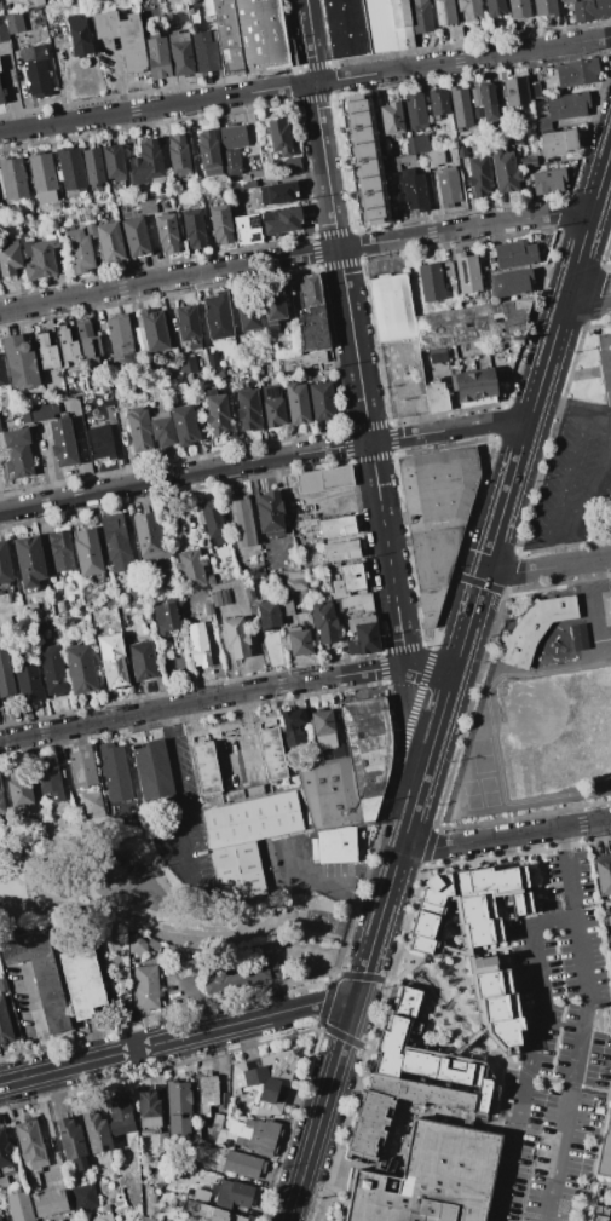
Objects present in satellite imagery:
building: (567, 1)
building: (34, 2)
building: (495, 7)
building: (519, 8)
building: (546, 8)
building: (468, 10)
building: (590, 10)
building: (35, 12)
building: (444, 12)
building: (421, 15)
building: (15, 22)
building: (387, 24)
building: (345, 28)
building: (2, 29)
building: (77, 35)
building: (122, 35)
building: (249, 35)
building: (203, 52)
building: (180, 53)
building: (158, 58)
building: (36, 70)
building: (577, 73)
road: (119, 77)
road: (305, 83)
building: (535, 90)
building: (515, 92)
building: (473, 97)
building: (0, 98)
building: (438, 102)
building: (486, 103)
building: (461, 106)
building: (567, 106)
building: (416, 111)
building: (392, 117)
road: (317, 125)
building: (279, 136)
building: (232, 137)
building: (555, 143)
building: (417, 144)
building: (462, 150)
building: (208, 152)
building: (178, 155)
building: (436, 159)
building: (362, 160)
building: (400, 161)
building: (114, 162)
building: (231, 162)
building: (146, 163)
building: (292, 163)
building: (93, 167)
building: (70, 168)
building: (505, 172)
building: (479, 175)
building: (42, 177)
road: (601, 177)
building: (13, 179)
building: (547, 182)
building: (243, 185)
building: (448, 186)
building: (415, 191)
building: (277, 194)
building: (83, 213)
building: (281, 220)
building: (220, 223)
building: (194, 228)
building: (247, 229)
building: (167, 232)
building: (136, 237)
building: (109, 242)
building: (79, 250)
building: (514, 254)
road: (295, 255)
road: (578, 255)
building: (10, 258)
building: (39, 259)
building: (448, 269)
building: (467, 272)
building: (431, 282)
building: (511, 282)
building: (312, 290)
road: (587, 298)
building: (275, 304)
building: (391, 307)
building: (218, 315)
building: (249, 316)
building: (188, 322)
building: (469, 323)
building: (154, 329)
building: (313, 329)
building: (120, 338)
building: (88, 345)
building: (67, 346)
building: (46, 352)
building: (438, 355)
road: (547, 359)
building: (212, 361)
building: (301, 361)
building: (19, 362)
building: (605, 362)
building: (188, 364)
building: (402, 368)
building: (1, 378)
building: (474, 384)
building: (103, 385)
building: (436, 397)
building: (105, 399)
building: (322, 401)
building: (296, 403)
building: (272, 405)
building: (248, 410)
road: (572, 410)
building: (44, 411)
building: (217, 411)
building: (184, 425)
building: (162, 428)
building: (0, 430)
building: (139, 430)
building: (15, 437)
building: (62, 443)
building: (100, 443)
road: (371, 457)
road: (264, 460)
building: (19, 461)
road: (44, 463)
building: (324, 479)
building: (269, 513)
building: (610, 513)
building: (437, 517)
road: (559, 517)
building: (212, 518)
building: (242, 523)
building: (338, 526)
building: (149, 537)
building: (116, 542)
road: (560, 545)
building: (59, 549)
building: (340, 551)
building: (87, 552)
building: (28, 558)
building: (4, 566)
road: (548, 566)
building: (191, 570)
building: (348, 578)
building: (296, 581)
road: (479, 587)
building: (134, 591)
building: (196, 595)
building: (109, 598)
building: (215, 598)
building: (610, 600)
building: (358, 601)
building: (336, 604)
building: (60, 606)
building: (286, 607)
building: (29, 612)
building: (267, 615)
building: (209, 616)
building: (165, 617)
building: (42, 622)
building: (324, 623)
building: (534, 628)
building: (362, 635)
building: (578, 637)
building: (236, 638)
building: (299, 641)
building: (198, 650)
building: (142, 661)
building: (114, 664)
building: (80, 669)
building: (53, 670)
road: (426, 673)
building: (5, 674)
building: (29, 684)
road: (200, 701)
building: (292, 719)
road: (247, 727)
building: (323, 730)
building: (294, 739)
building: (368, 743)
building: (271, 754)
building: (82, 766)
building: (204, 768)
building: (152, 770)
building: (115, 773)
building: (47, 778)
building: (18, 787)
road: (177, 790)
building: (254, 790)
building: (328, 791)
building: (234, 795)
building: (1, 801)
building: (92, 805)
road: (414, 805)
building: (368, 807)
building: (252, 819)
building: (0, 822)
road: (505, 836)
building: (335, 846)
building: (238, 871)
road: (567, 872)
building: (604, 875)
road: (312, 883)
building: (520, 903)
park: (172, 905)
building: (462, 905)
road: (380, 914)
road: (554, 921)
park: (324, 922)
road: (151, 925)
building: (152, 944)
building: (136, 945)
building: (184, 967)
building: (39, 973)
building: (242, 977)
road: (123, 979)
building: (82, 981)
building: (2, 985)
building: (146, 987)
road: (311, 1004)
building: (496, 1009)
road: (36, 1018)
building: (604, 1019)
building: (4, 1024)
road: (134, 1049)
building: (423, 1054)
building: (266, 1079)
building: (208, 1093)
road: (325, 1099)
building: (149, 1108)
building: (178, 1108)
building: (119, 1112)
building: (217, 1121)
building: (370, 1121)
building: (96, 1131)
building: (255, 1134)
building: (163, 1139)
building: (225, 1139)
building: (73, 1142)
building: (30, 1145)
building: (4, 1150)
building: (605, 1151)
building: (243, 1164)
building: (431, 1179)
building: (4, 1182)
building: (232, 1193)
building: (83, 1198)
building: (48, 1203)
building: (19, 1205)
building: (105, 1208)
building: (603, 1211)
building: (217, 1214)
building: (99, 1217)
building: (0, 1219)

